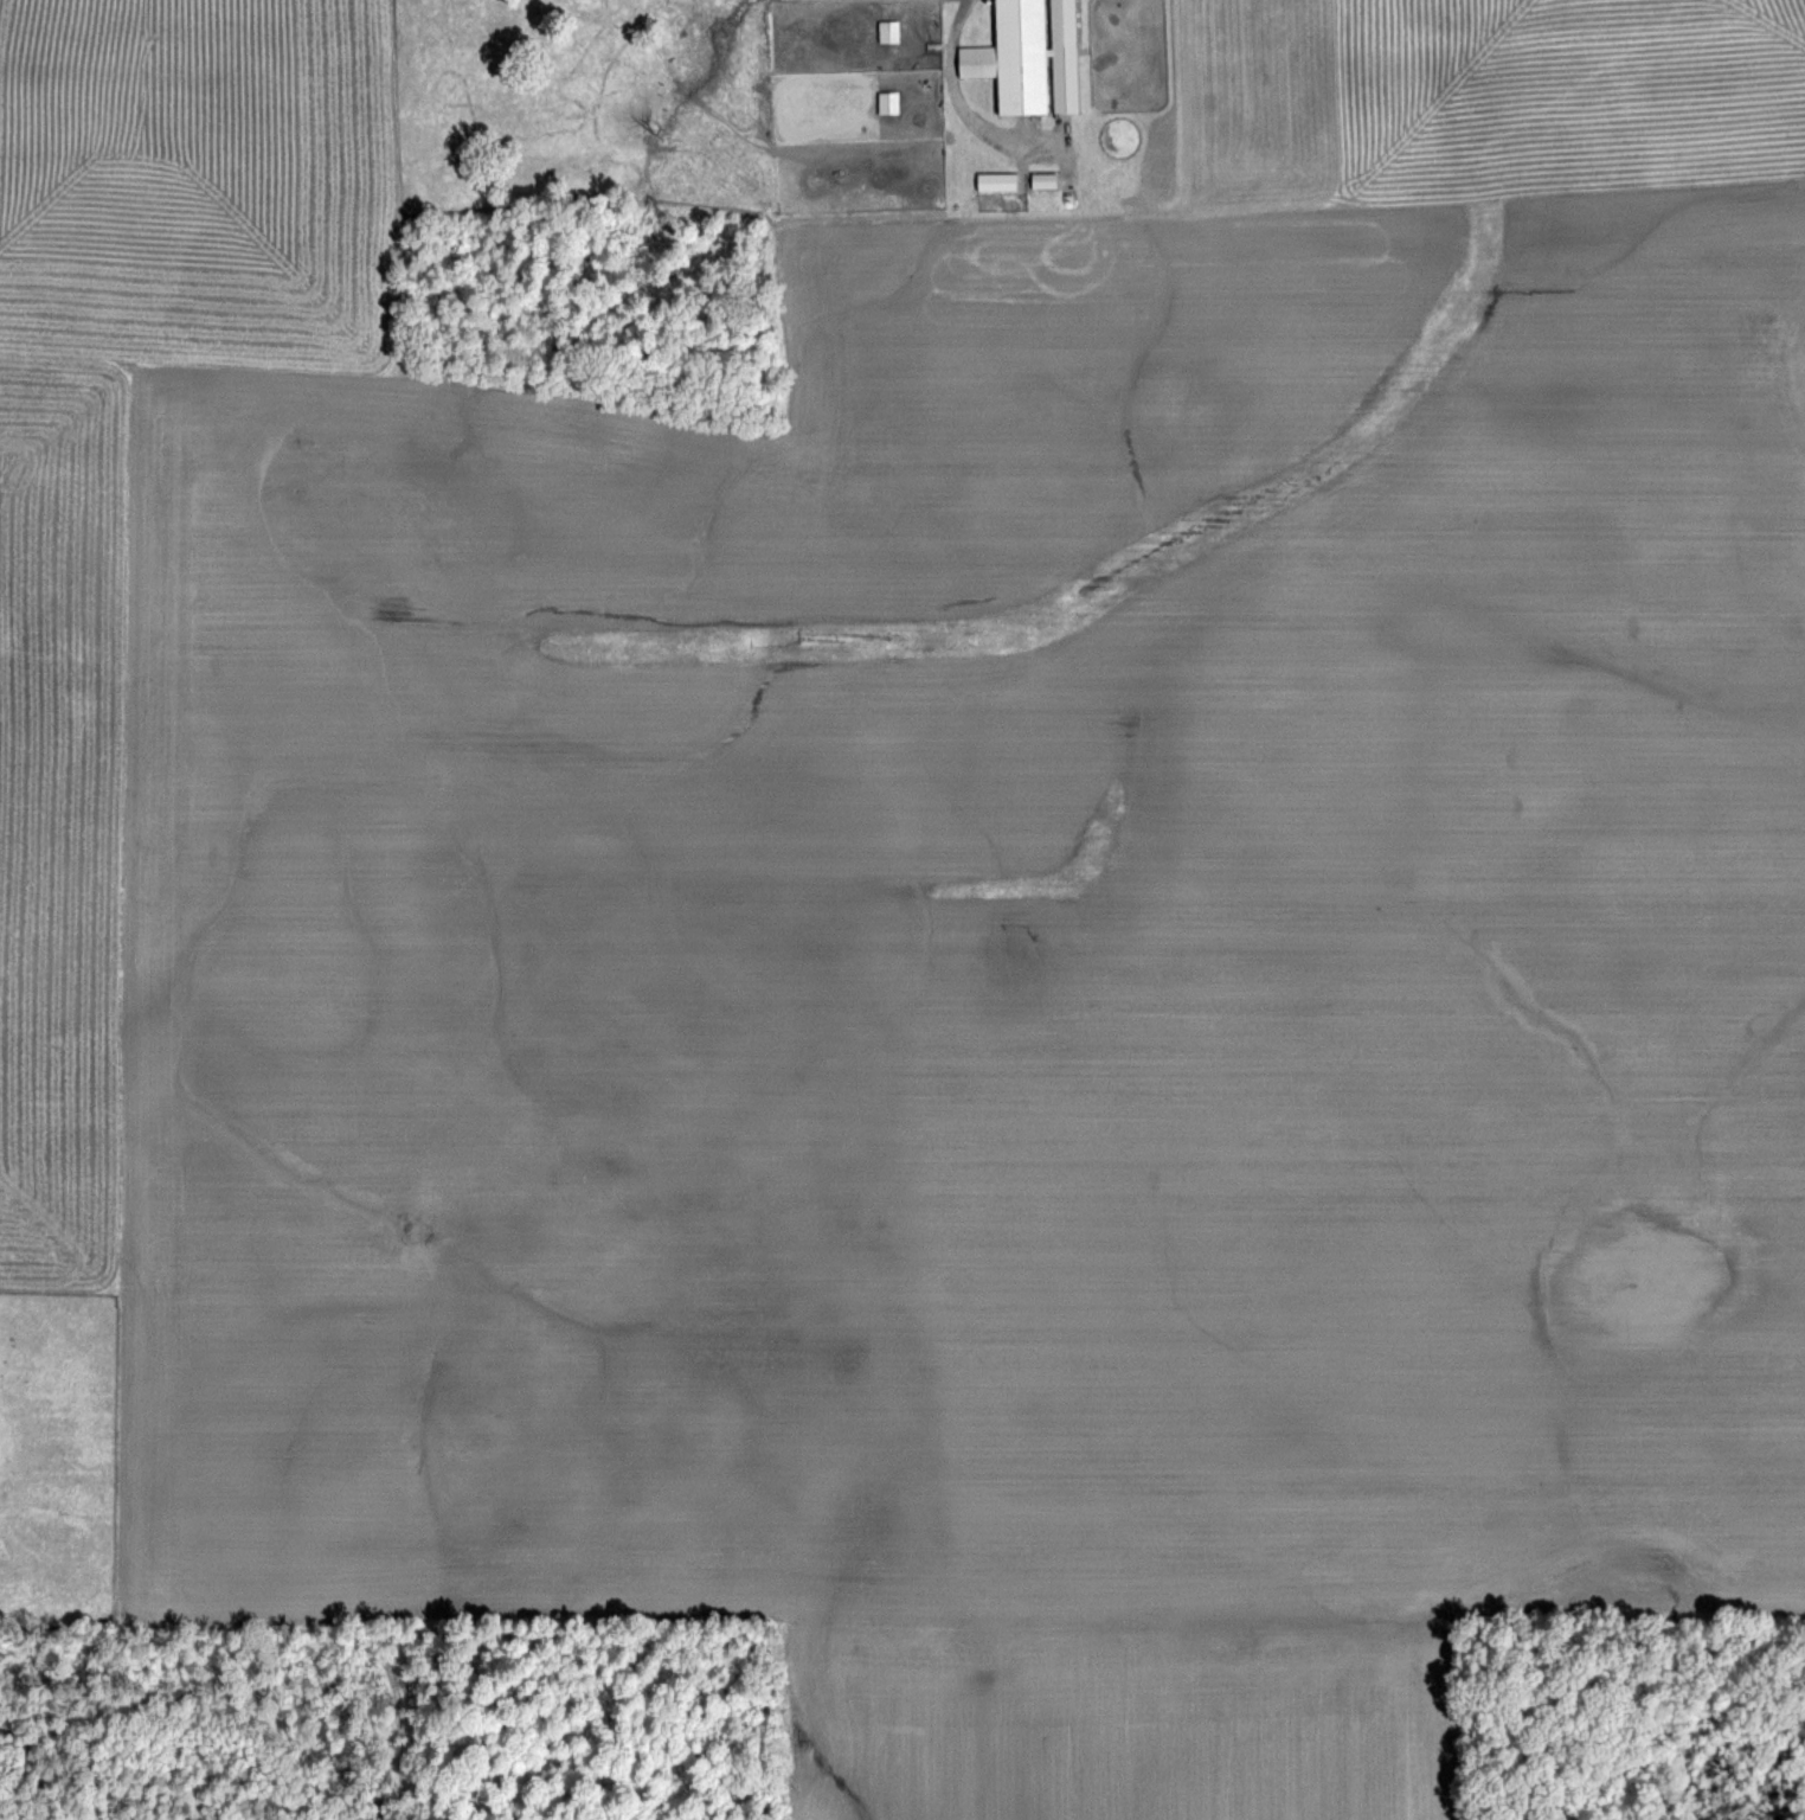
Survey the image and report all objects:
building: (881, 30)
building: (1022, 55)
road: (946, 86)
building: (881, 101)
building: (1038, 179)
building: (989, 180)
building: (1785, 344)
crop: (902, 910)

